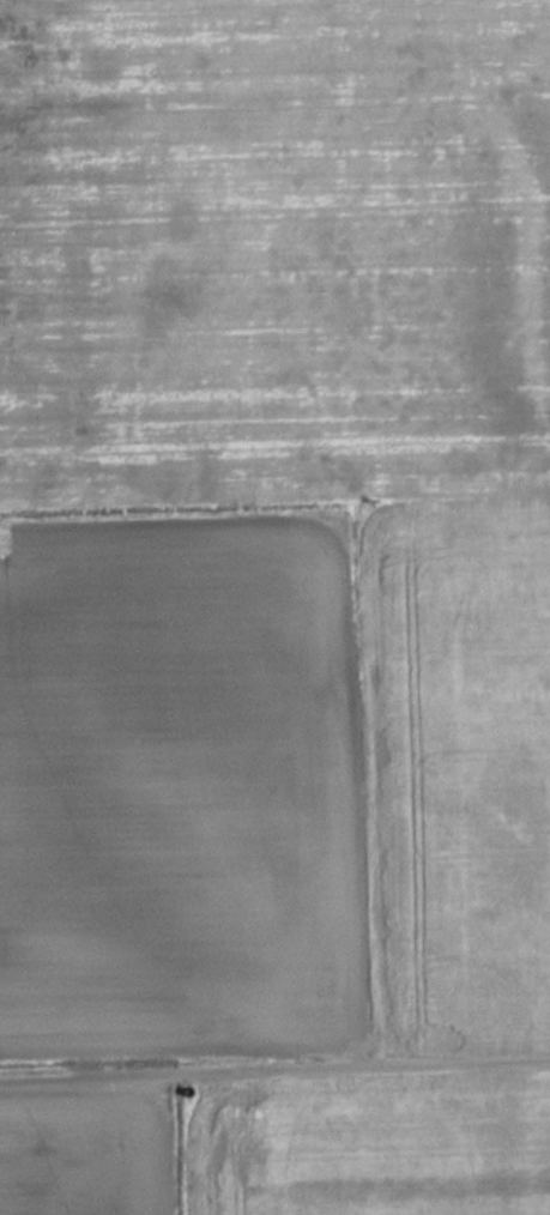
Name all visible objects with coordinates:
road: (542, 1063)
road: (266, 1071)

